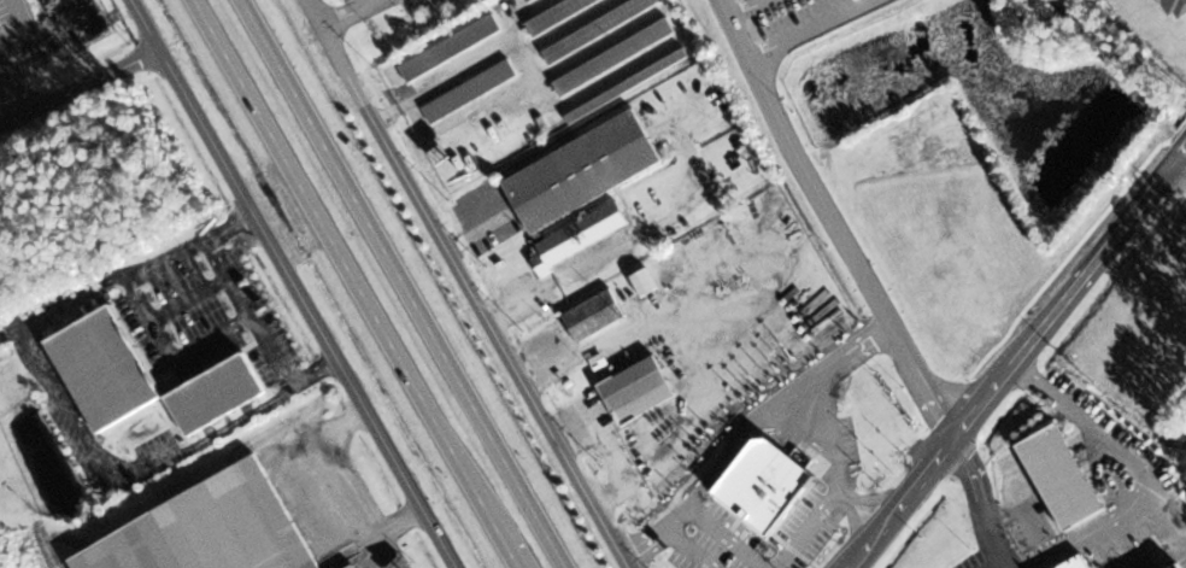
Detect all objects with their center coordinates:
building: (528, 0)
road: (348, 12)
building: (557, 13)
building: (61, 23)
building: (598, 29)
road: (811, 29)
building: (450, 48)
building: (613, 57)
building: (635, 80)
road: (80, 86)
building: (466, 98)
road: (802, 165)
road: (1180, 170)
building: (581, 171)
building: (580, 235)
road: (1100, 258)
road: (345, 260)
road: (294, 283)
road: (405, 283)
road: (468, 285)
building: (593, 315)
building: (140, 377)
road: (922, 381)
building: (632, 383)
road: (984, 400)
building: (822, 472)
road: (974, 474)
road: (916, 485)
building: (206, 529)
road: (992, 541)
road: (506, 545)
road: (864, 550)
building: (1075, 563)
building: (352, 566)
building: (1179, 566)

